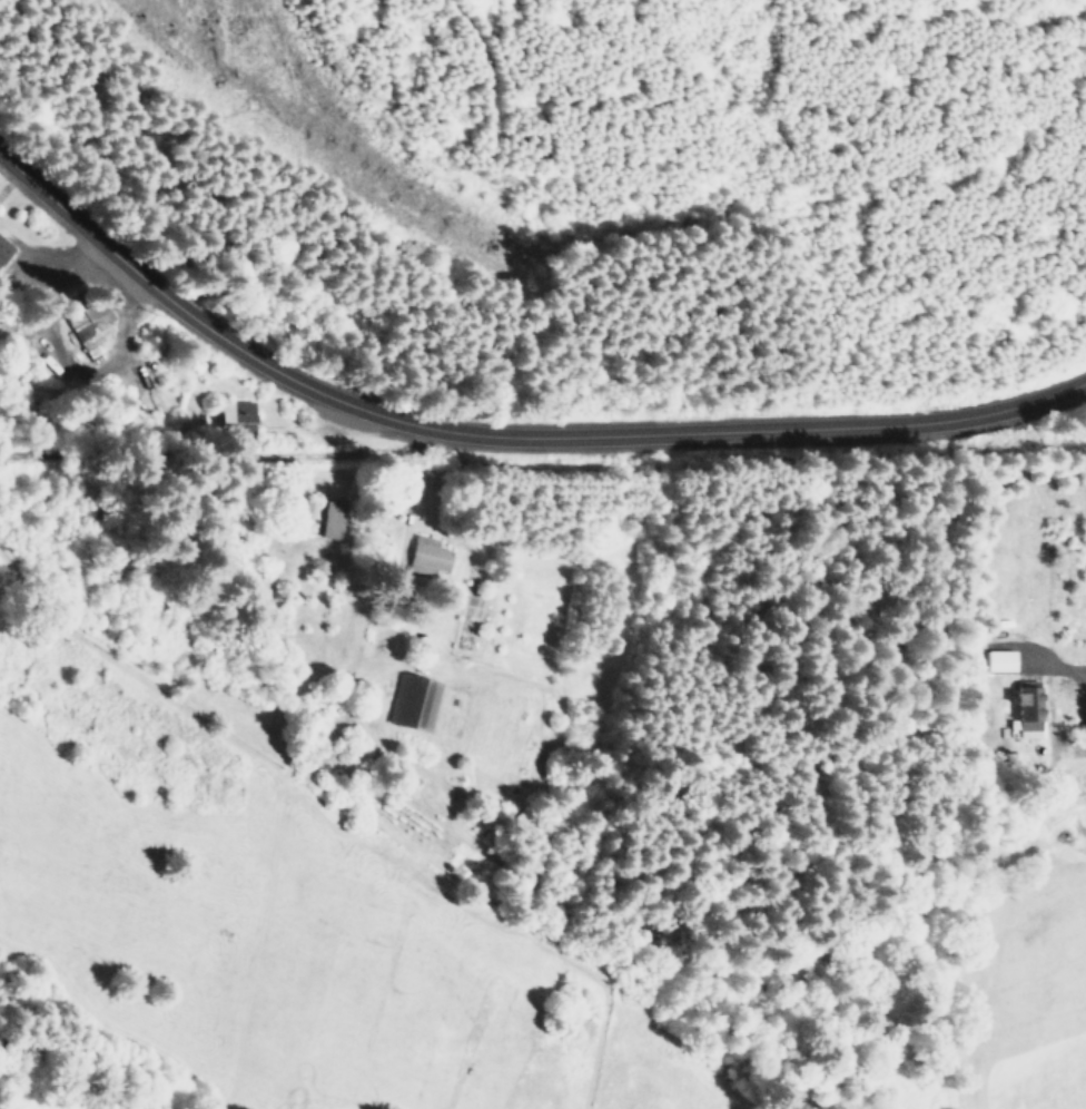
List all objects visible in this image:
building: (3, 249)
building: (88, 326)
building: (235, 416)
road: (505, 442)
building: (330, 517)
building: (426, 556)
building: (997, 660)
road: (1060, 673)
building: (412, 703)
building: (1026, 709)

